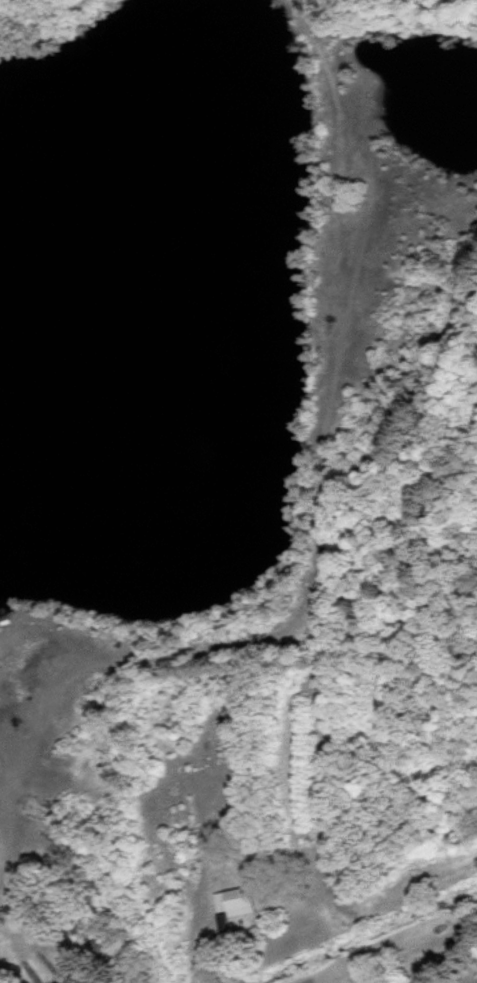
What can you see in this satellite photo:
road: (6, 844)
building: (233, 900)
building: (53, 982)

